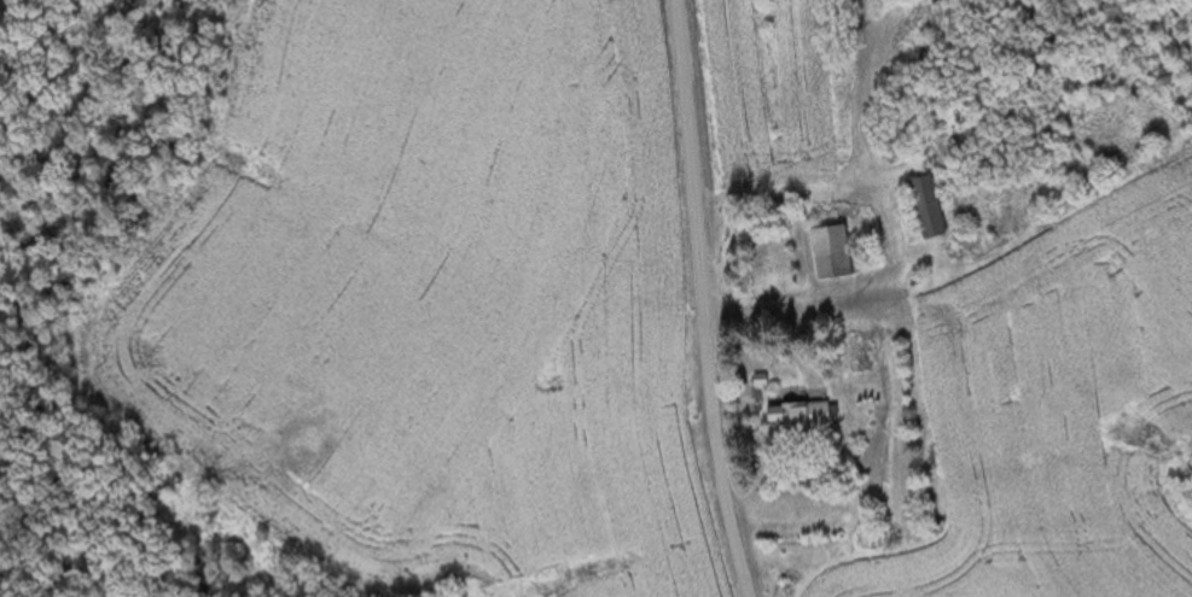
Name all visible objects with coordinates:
building: (919, 207)
building: (825, 253)
road: (704, 299)
building: (797, 417)

